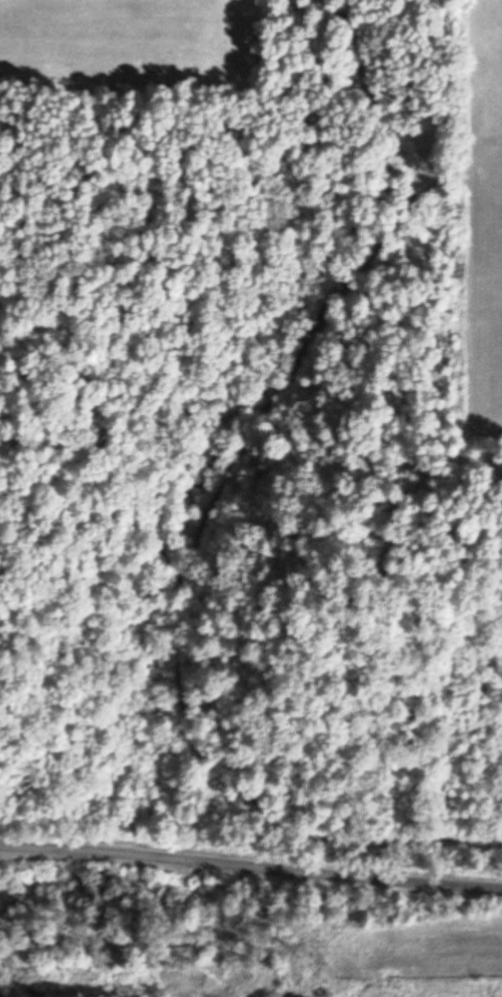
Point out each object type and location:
road: (250, 873)

